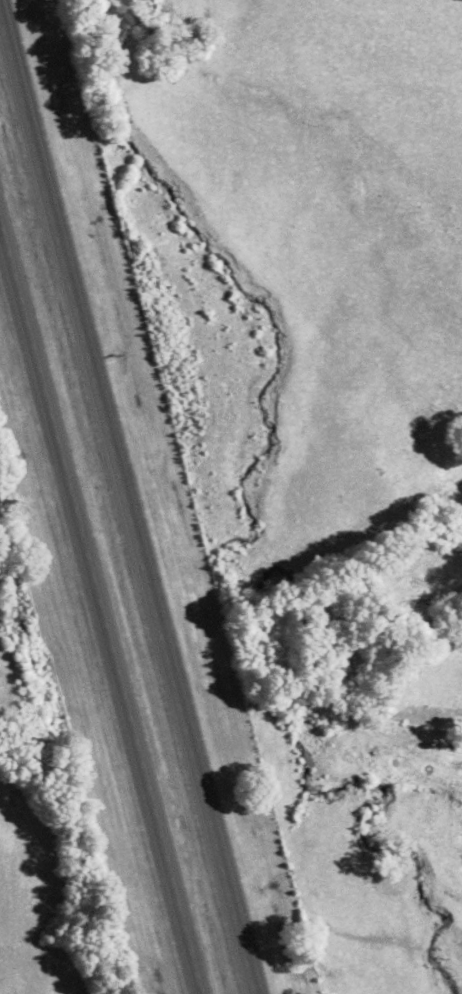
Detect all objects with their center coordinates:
road: (124, 509)
road: (99, 609)

